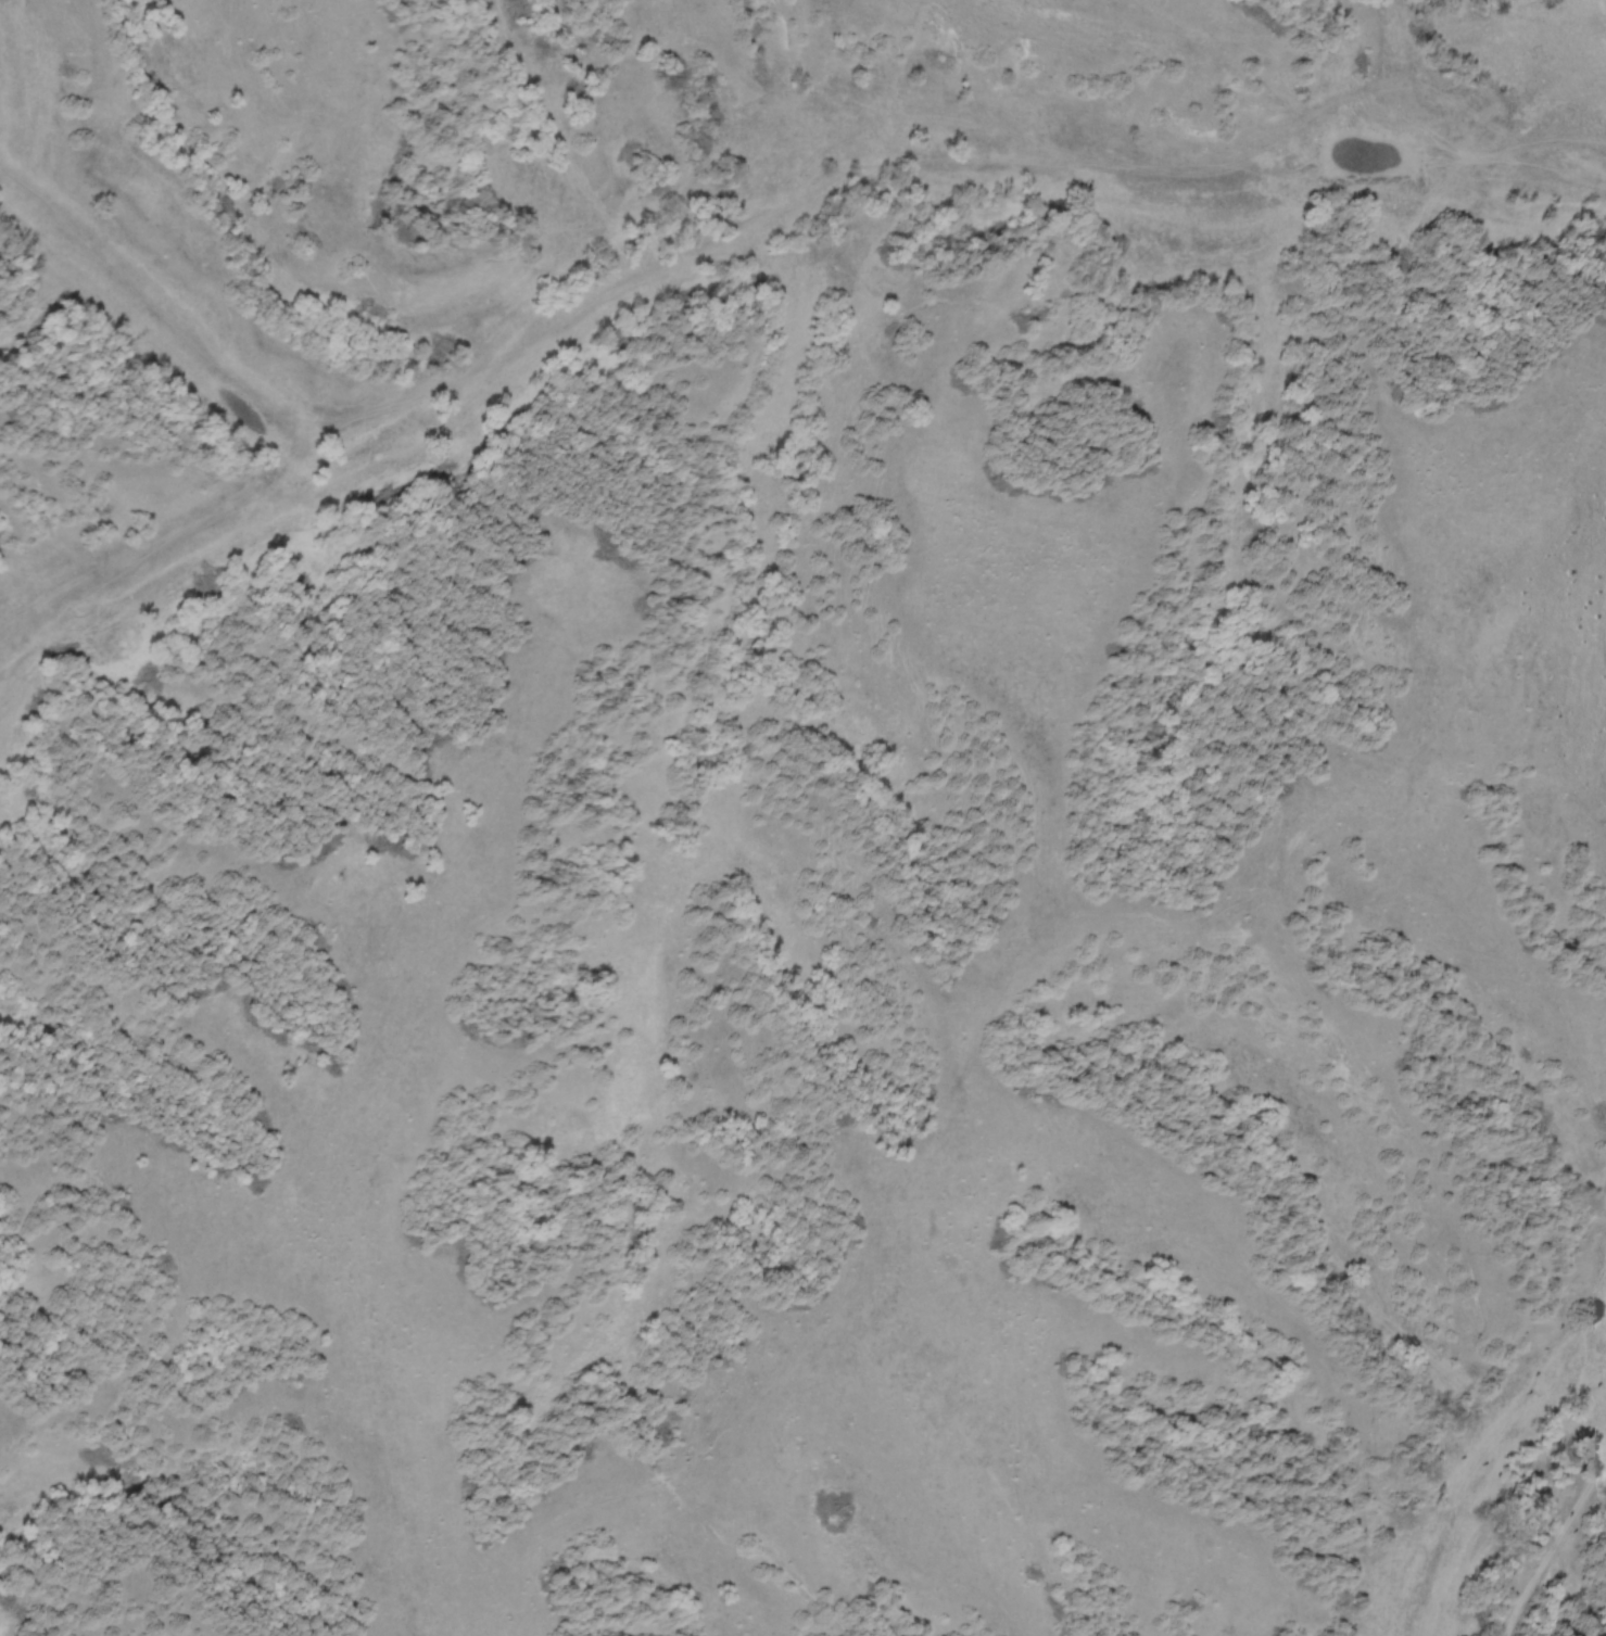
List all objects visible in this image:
road: (1553, 1546)

